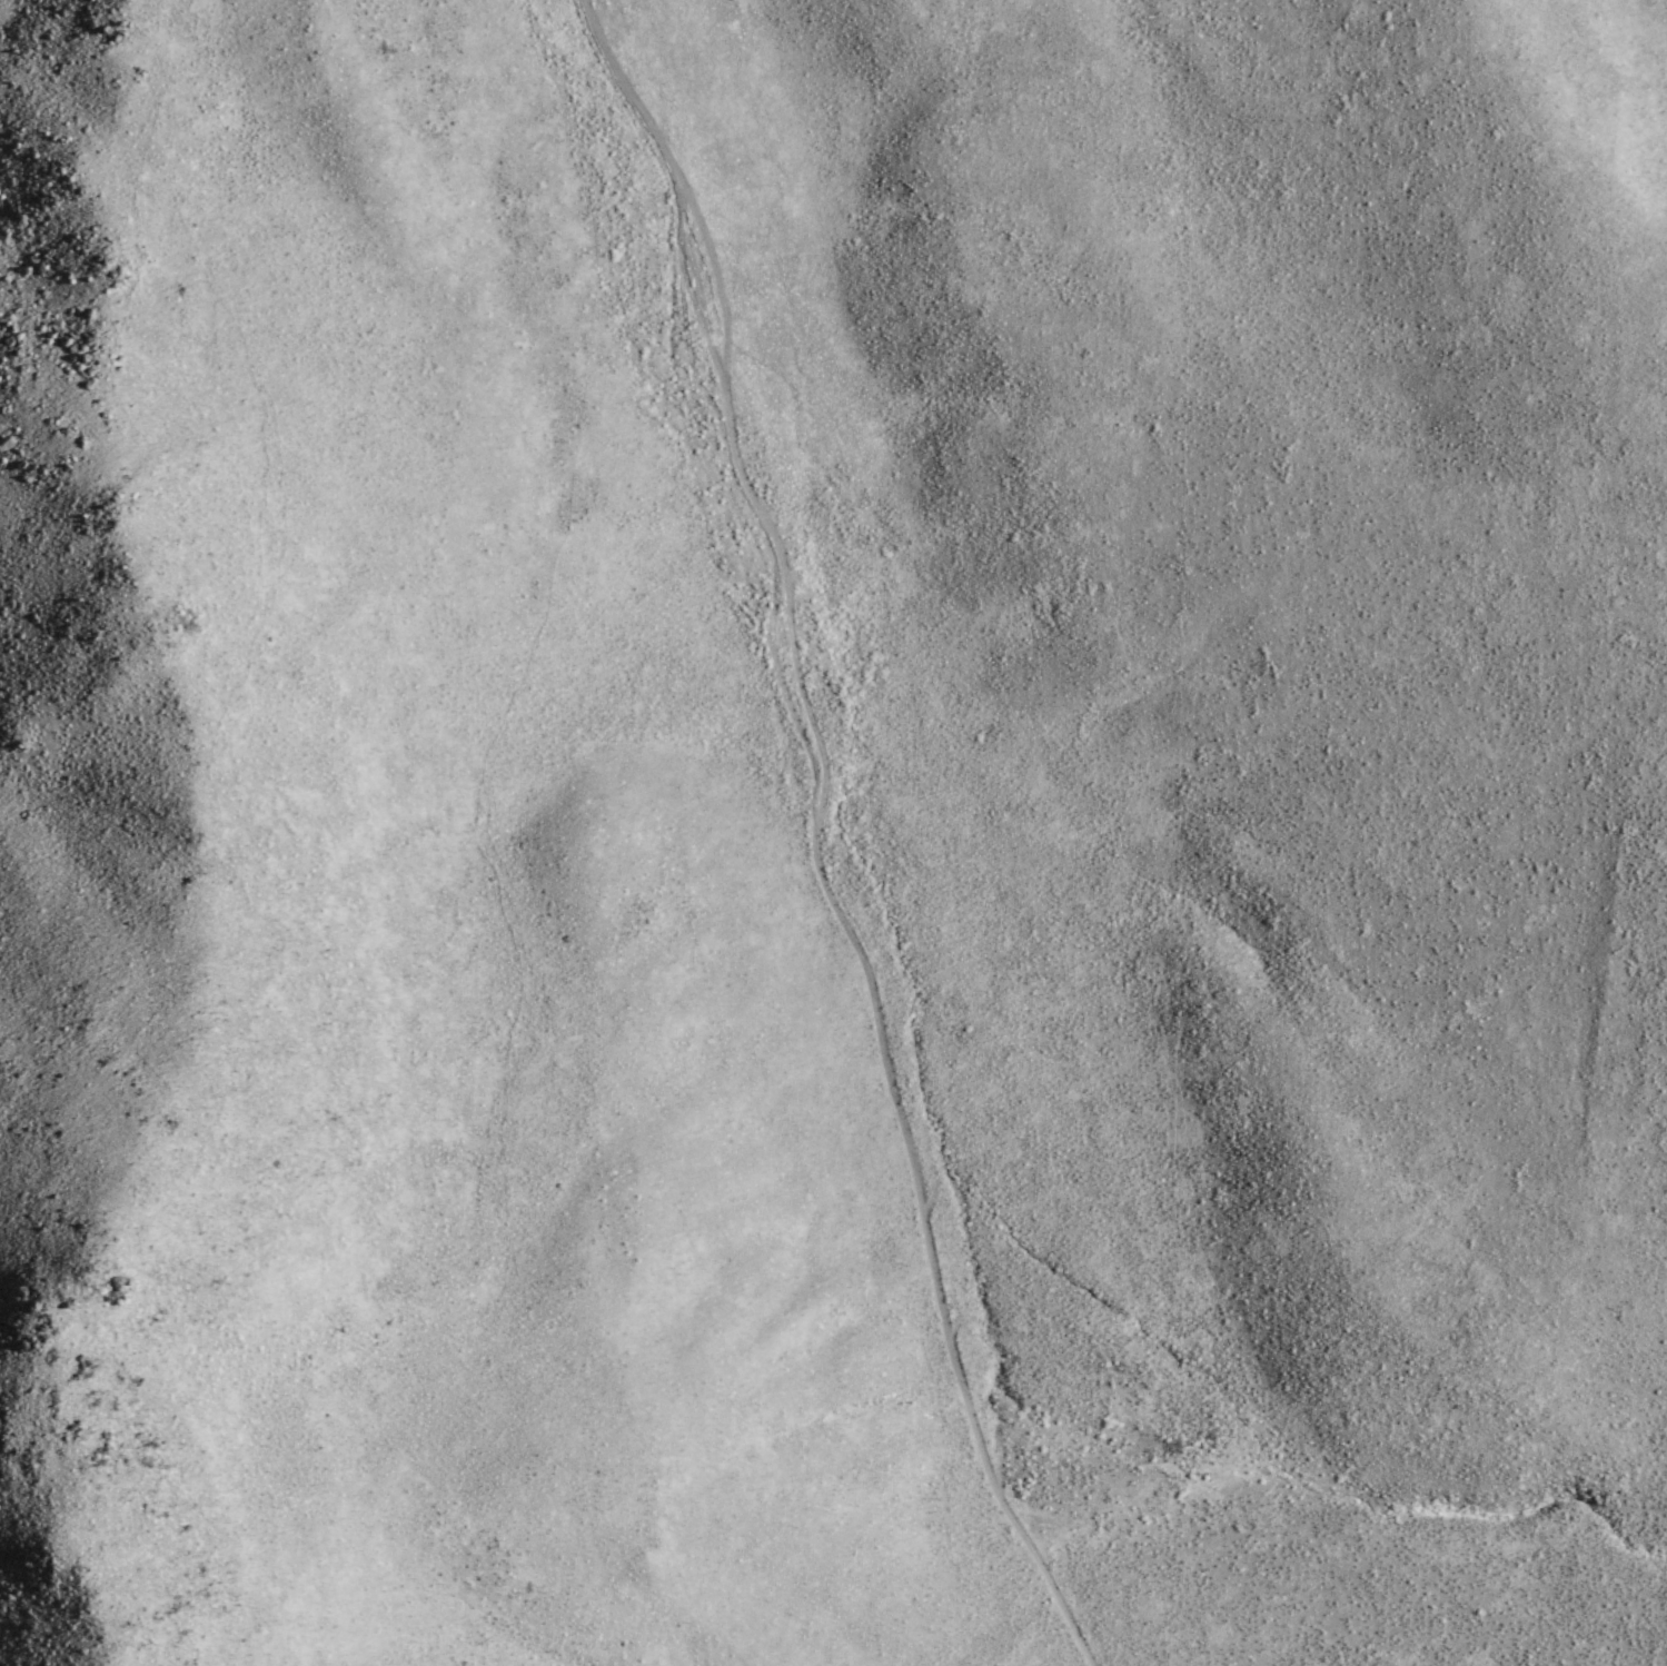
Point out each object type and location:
road: (827, 834)
crop: (791, 849)

